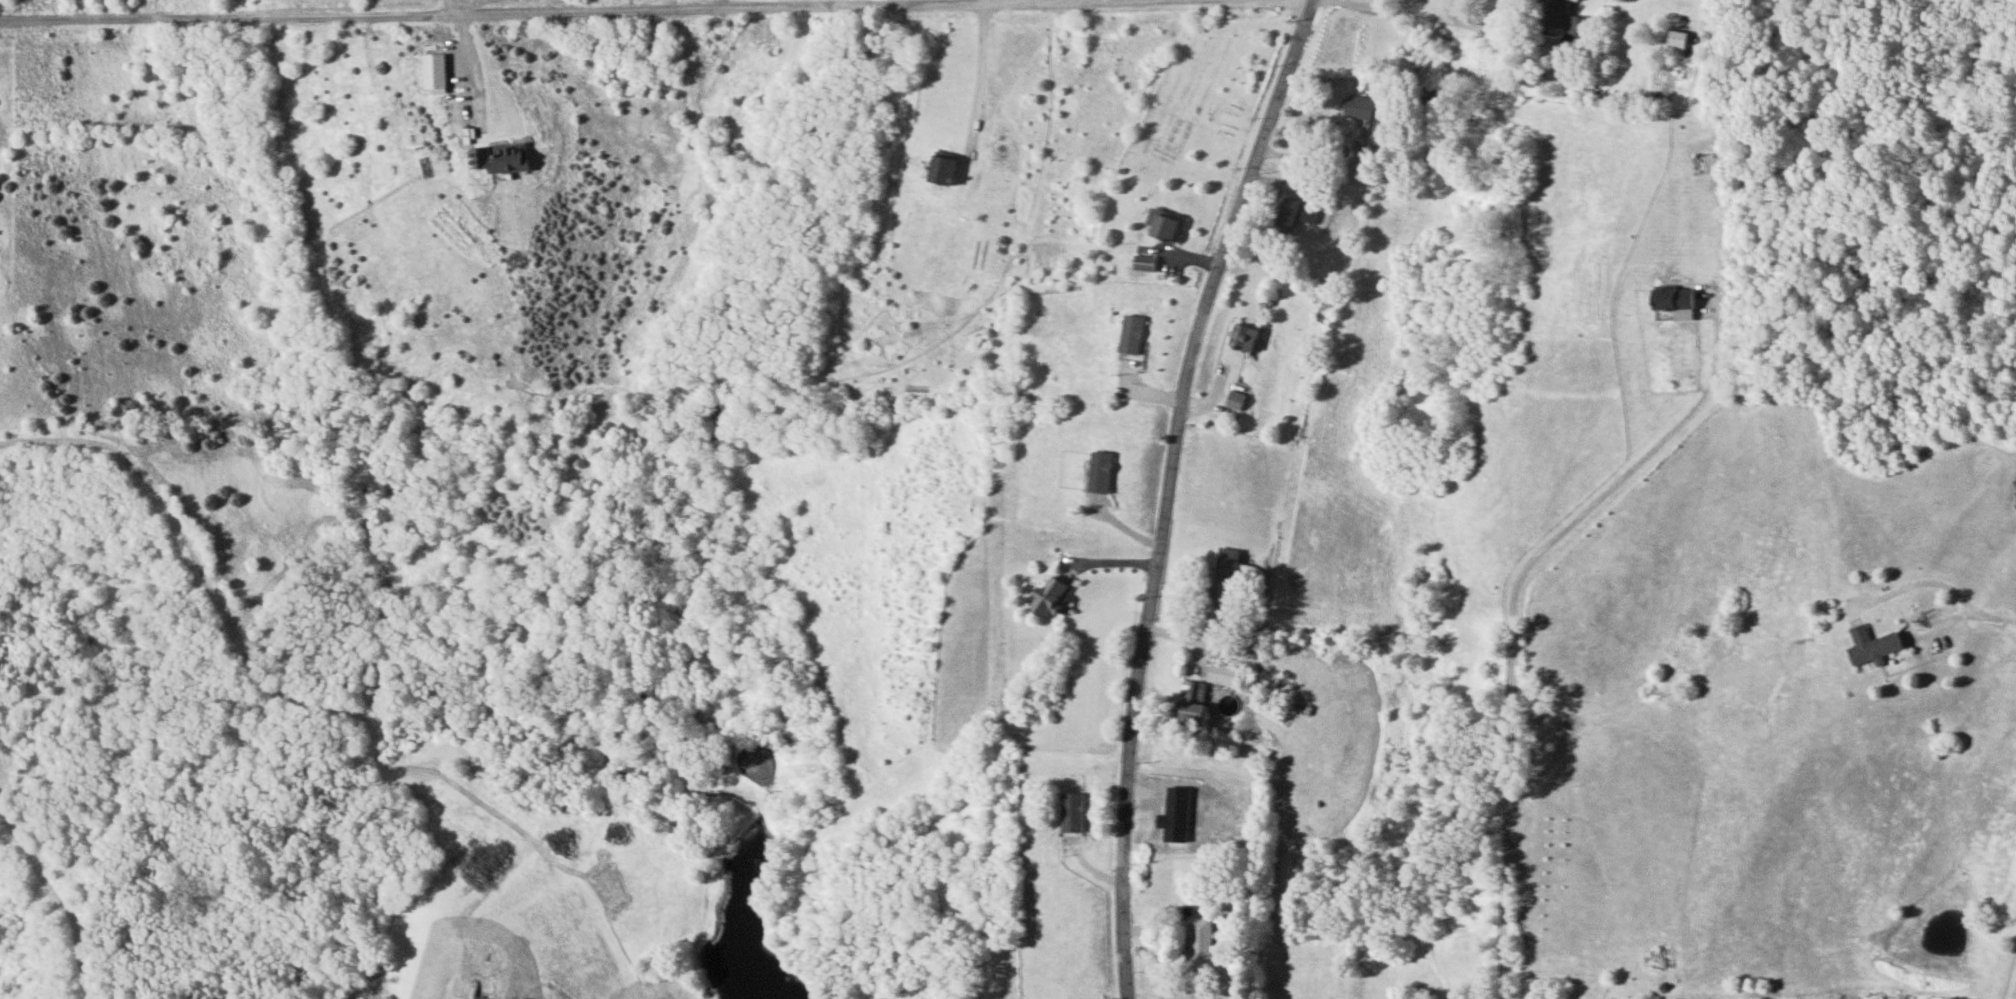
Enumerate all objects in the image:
road: (449, 6)
road: (488, 11)
road: (1423, 15)
building: (1676, 42)
building: (433, 71)
road: (473, 72)
road: (977, 74)
building: (1357, 107)
building: (500, 158)
road: (1335, 159)
building: (942, 168)
building: (1293, 214)
building: (1168, 226)
building: (1144, 263)
building: (1675, 302)
building: (1130, 334)
building: (1243, 337)
building: (1235, 400)
building: (1099, 472)
road: (1167, 489)
building: (1223, 577)
road: (1924, 582)
building: (1049, 596)
road: (1511, 609)
road: (2001, 619)
building: (1871, 646)
road: (1242, 649)
building: (1224, 674)
building: (1191, 702)
building: (1074, 812)
building: (1175, 815)
road: (2007, 969)

